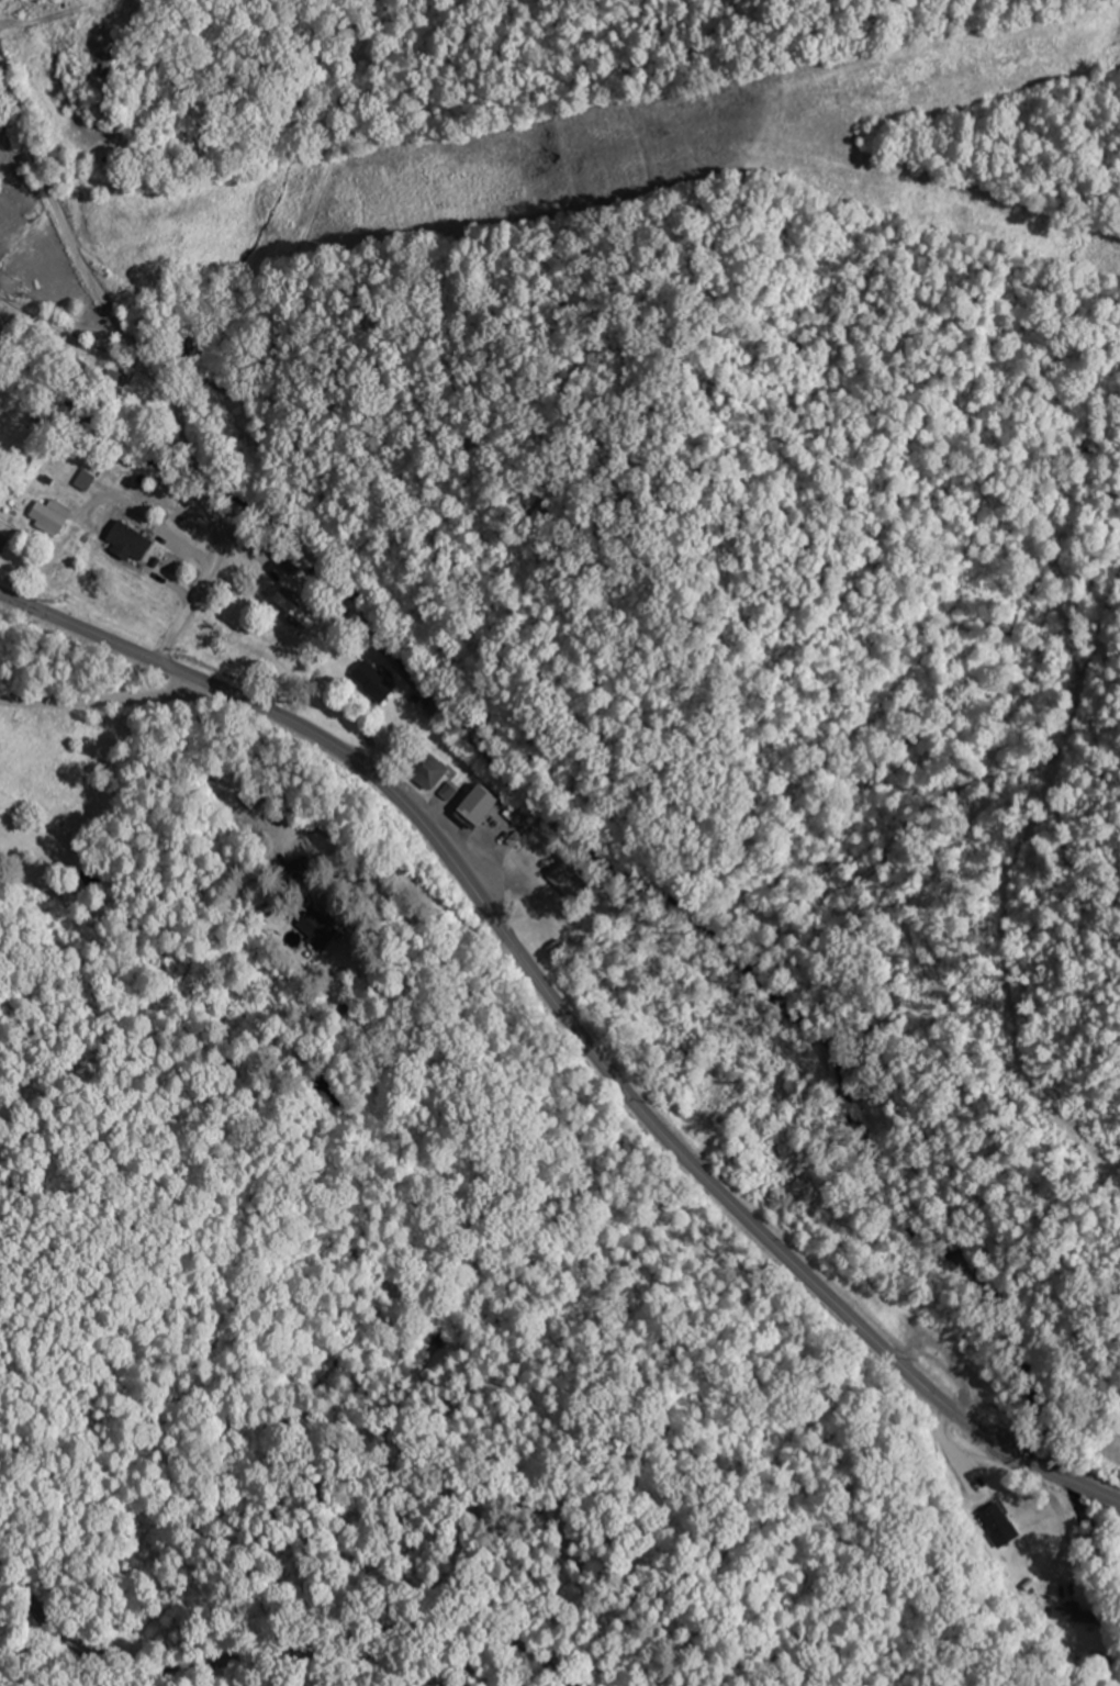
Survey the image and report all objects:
building: (120, 58)
road: (77, 345)
road: (145, 362)
building: (89, 481)
building: (54, 516)
building: (133, 543)
building: (302, 614)
building: (377, 682)
building: (435, 770)
building: (492, 807)
building: (257, 811)
building: (300, 870)
road: (184, 872)
road: (403, 881)
building: (571, 884)
building: (323, 929)
building: (559, 951)
road: (572, 1024)
building: (1011, 1534)
road: (275, 1655)

